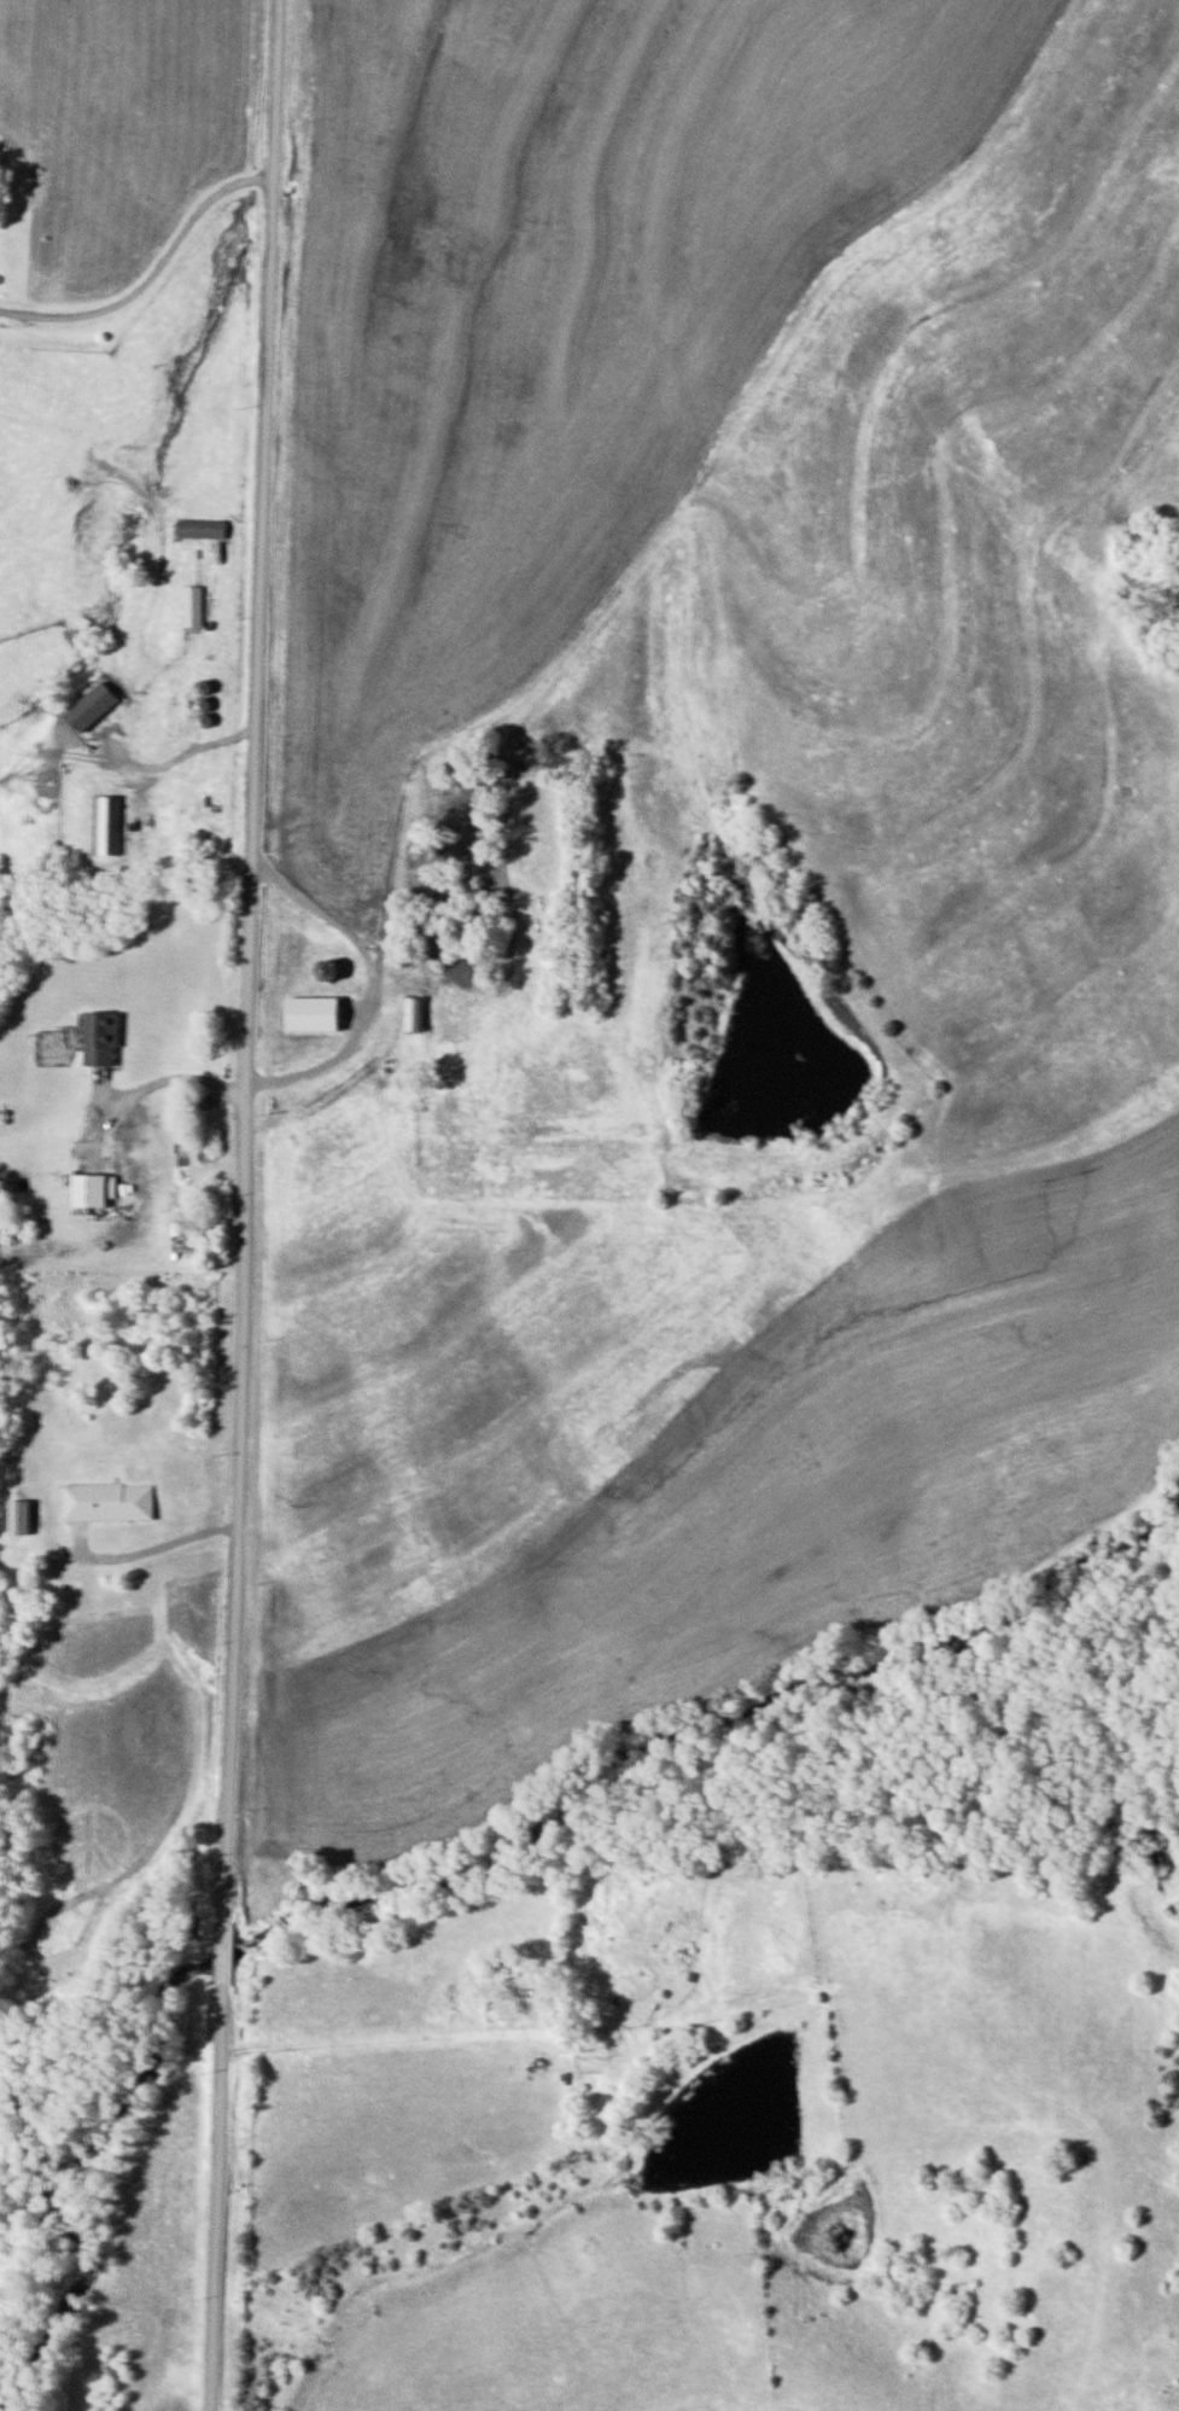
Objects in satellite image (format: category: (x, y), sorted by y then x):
road: (151, 275)
building: (204, 528)
building: (193, 605)
building: (94, 705)
building: (105, 825)
building: (332, 969)
building: (317, 1012)
building: (416, 1012)
building: (103, 1038)
building: (91, 1189)
road: (244, 1205)
building: (109, 1501)

